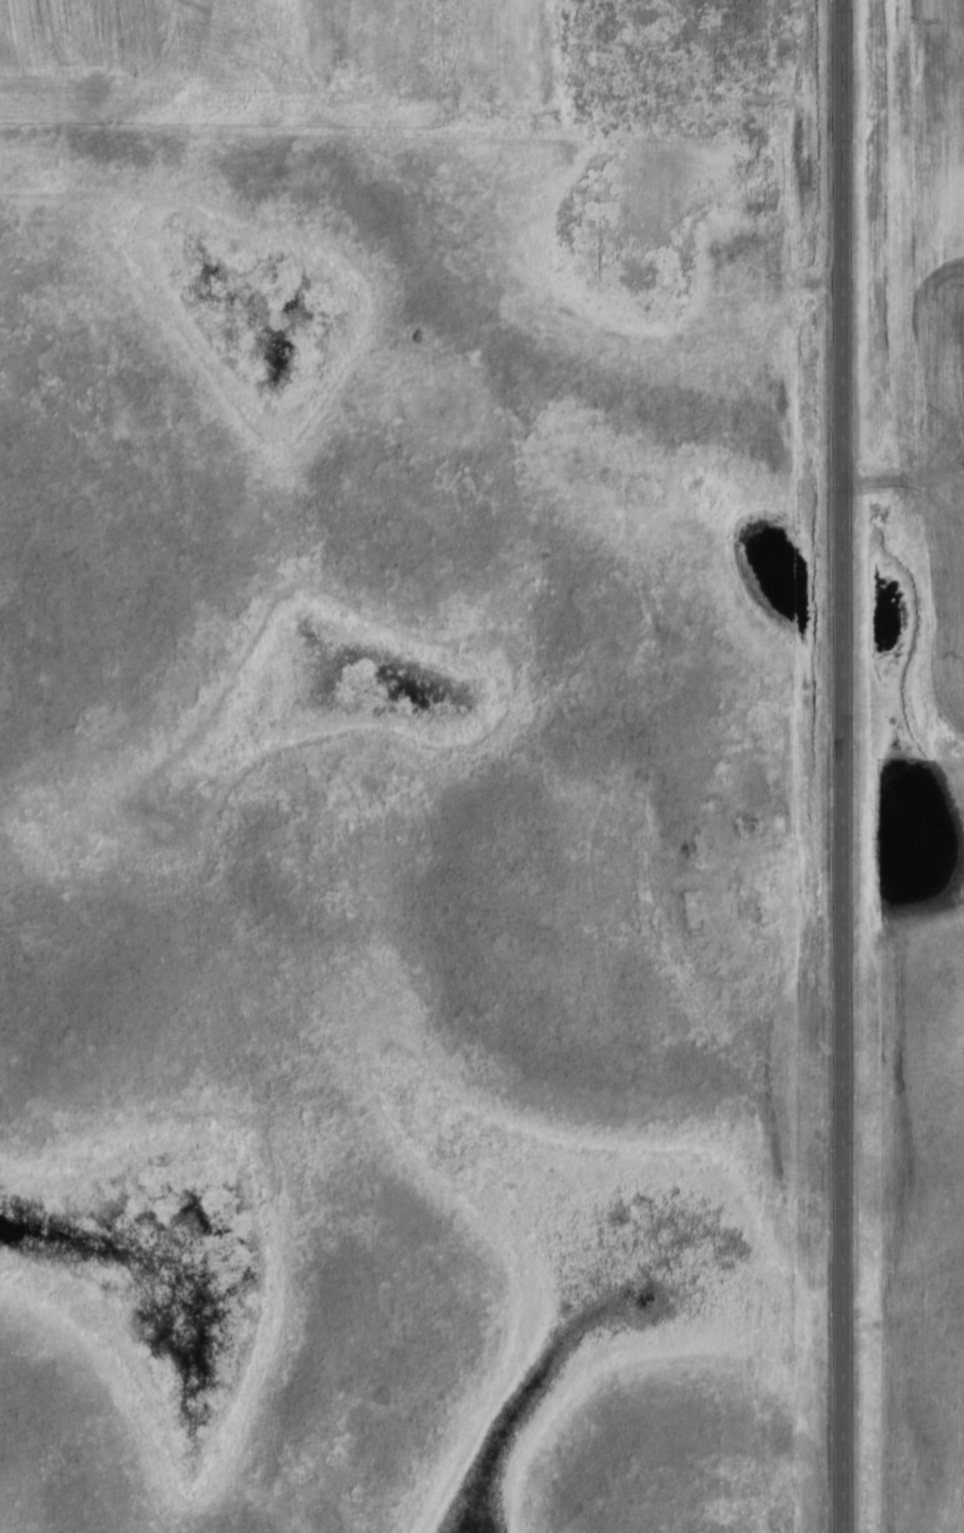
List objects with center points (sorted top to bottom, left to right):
road: (832, 766)

